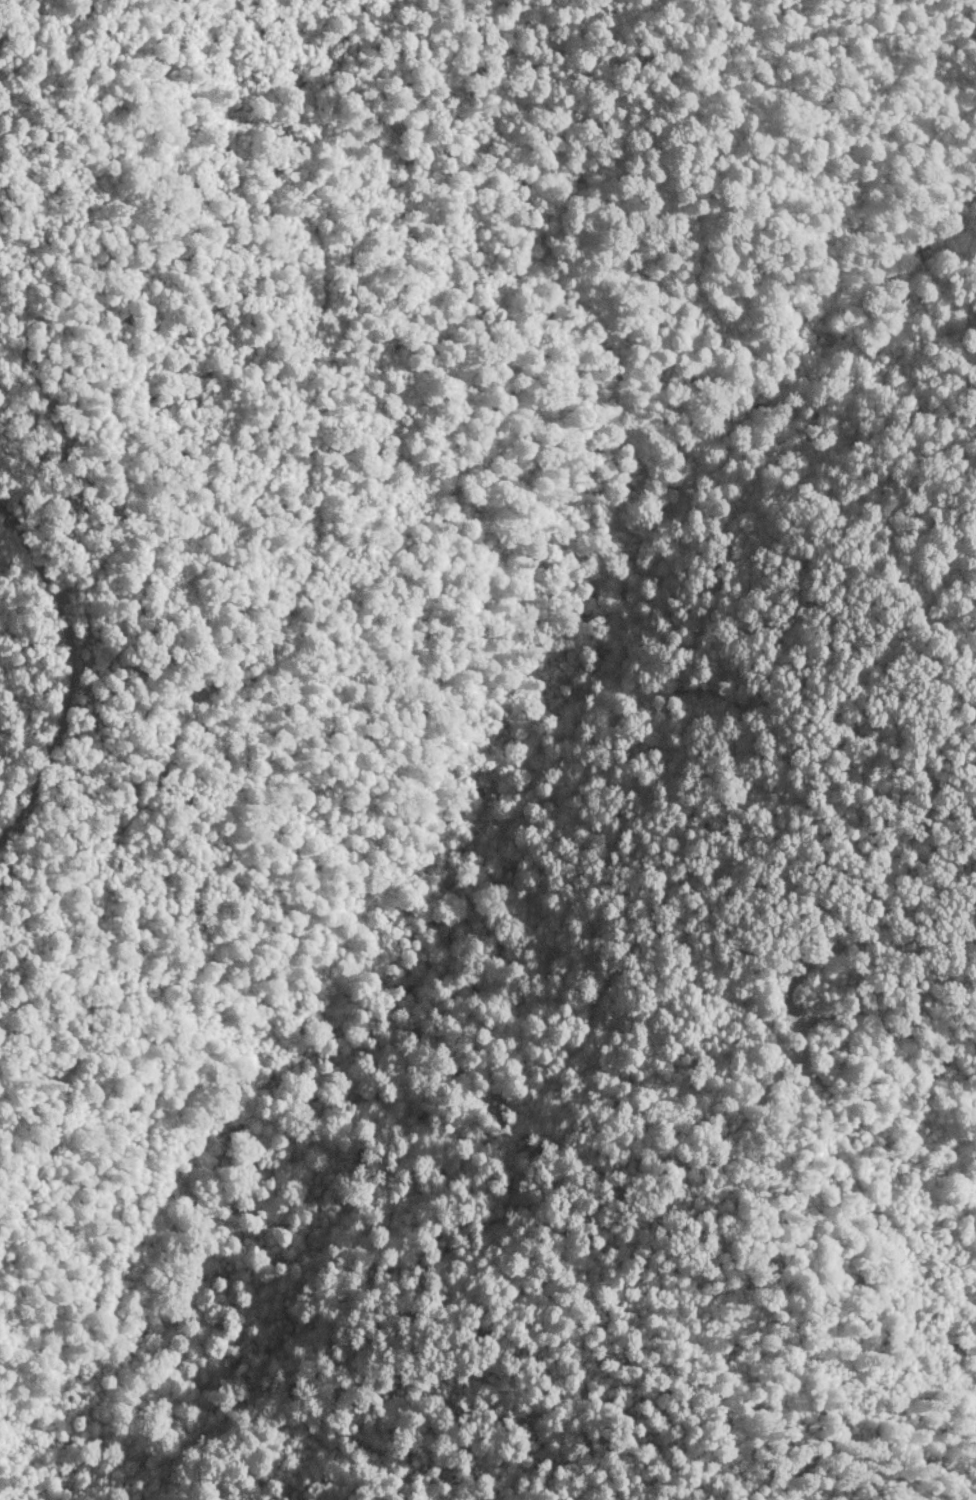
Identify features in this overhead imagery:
road: (775, 986)

